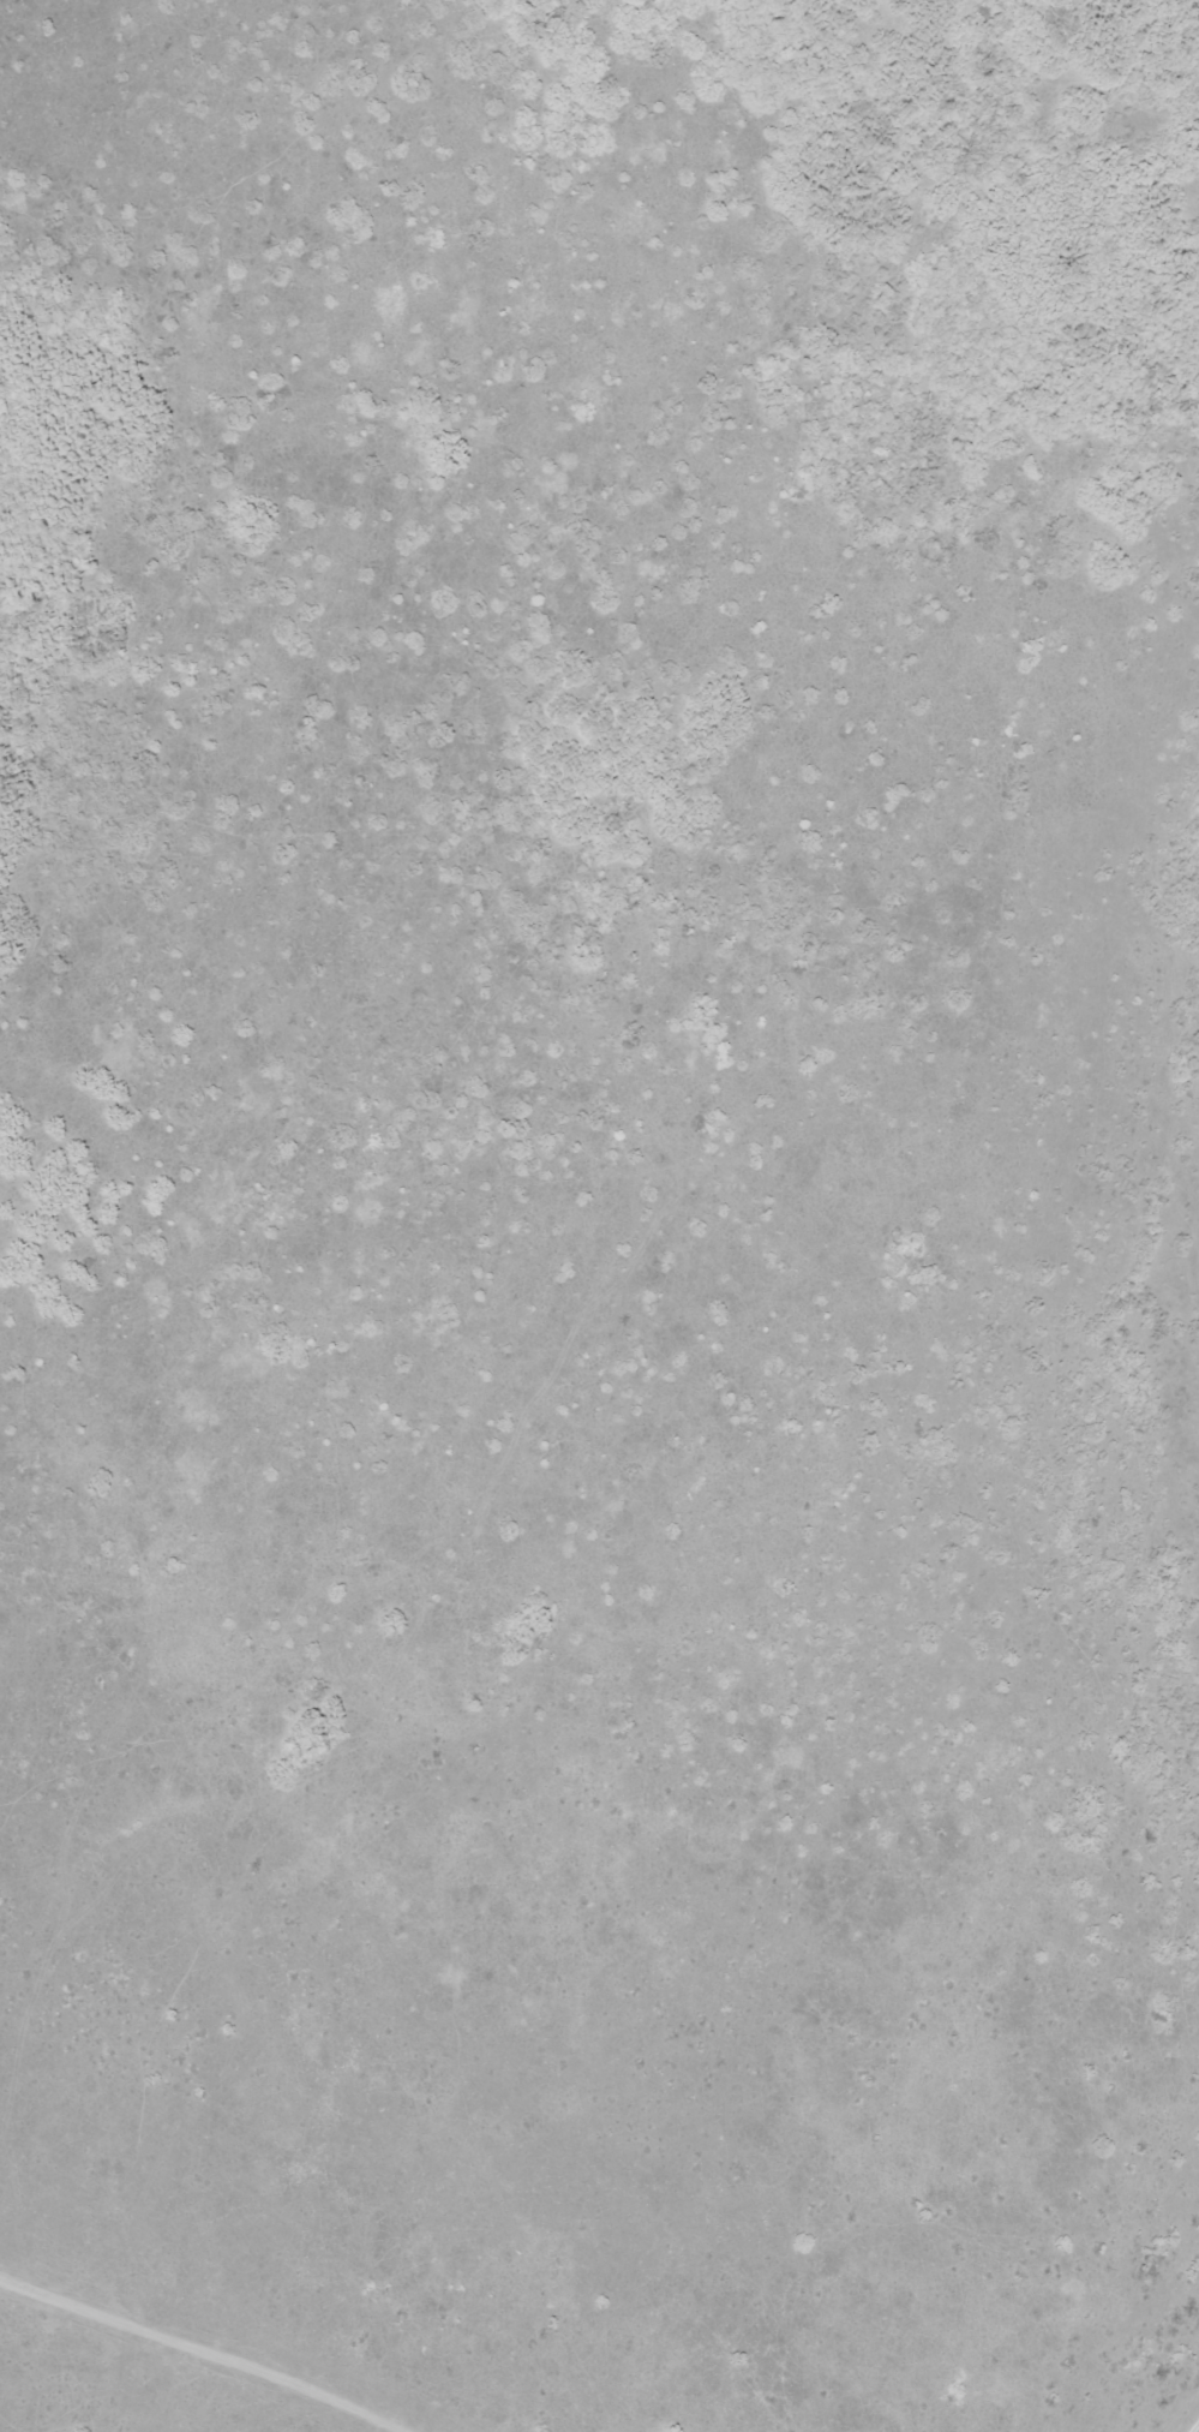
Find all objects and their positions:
road: (204, 2348)

